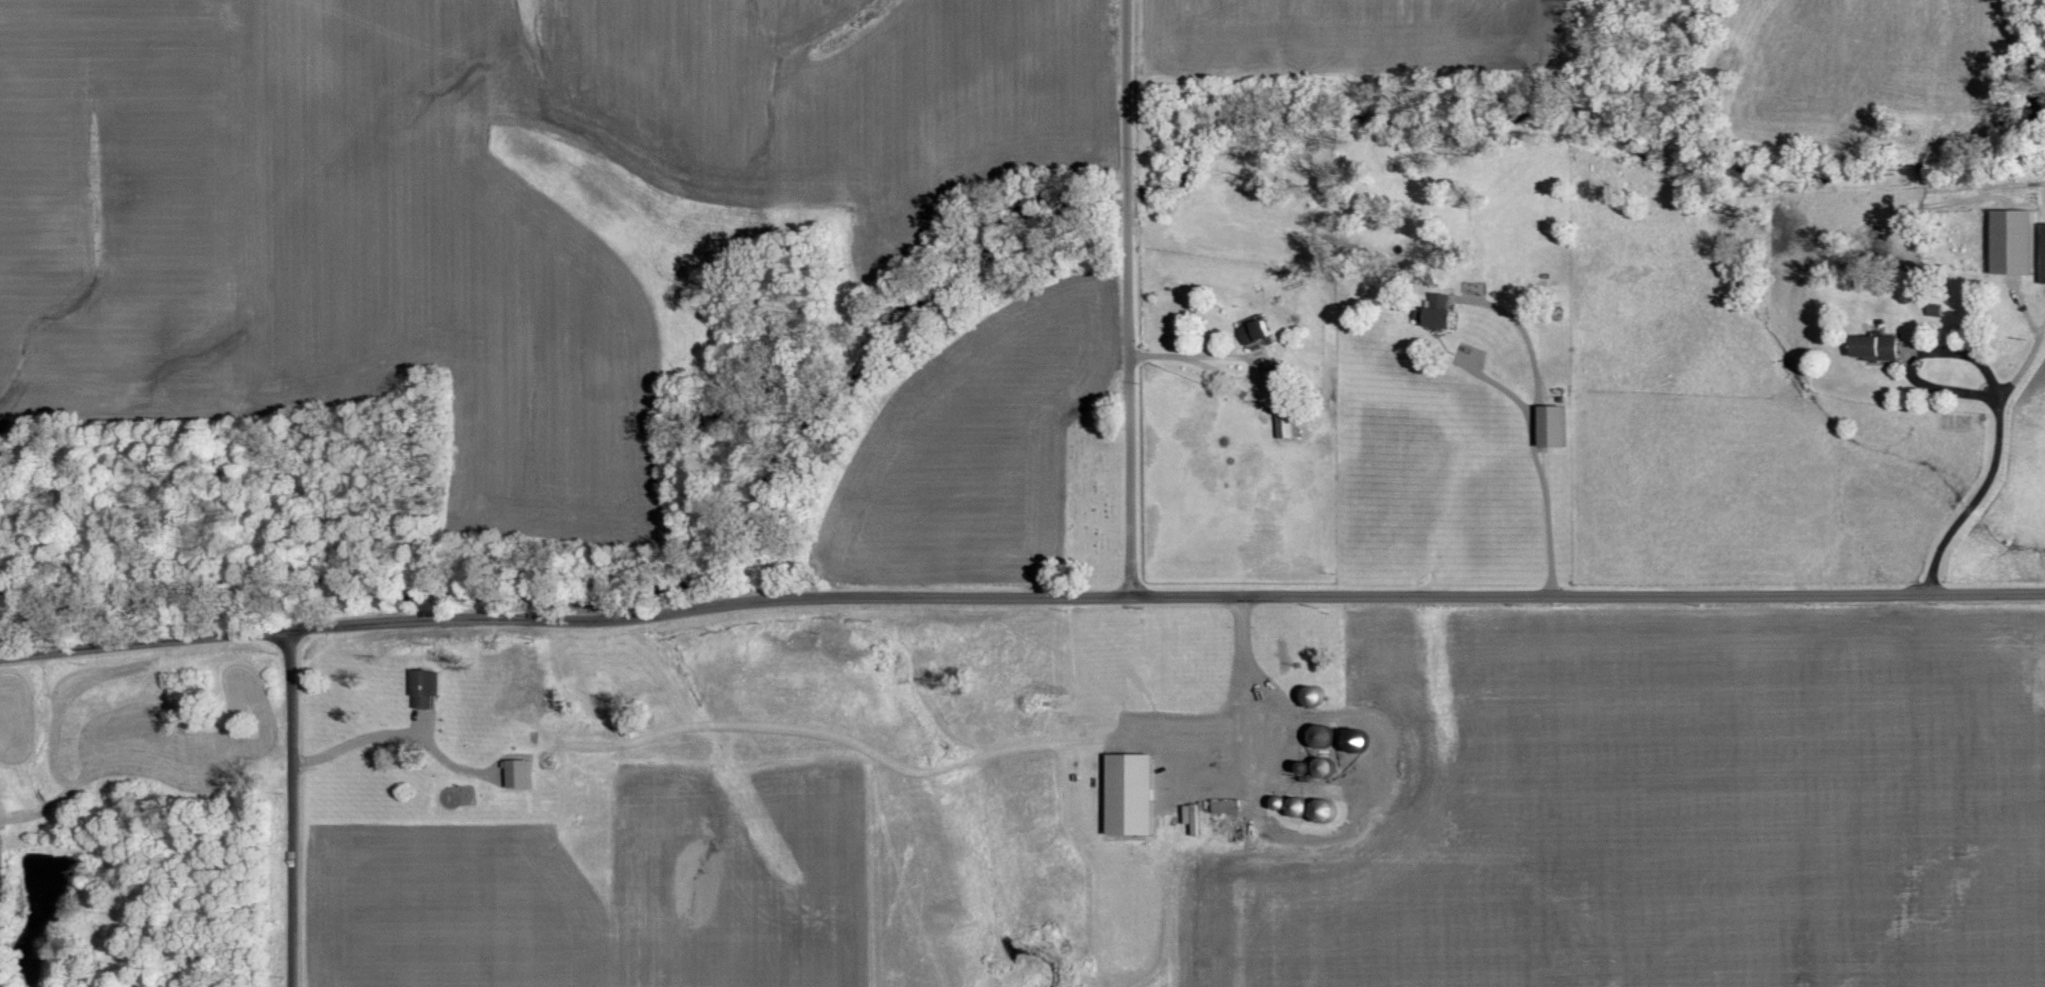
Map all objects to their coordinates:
building: (2009, 241)
building: (2041, 253)
road: (1134, 299)
building: (1435, 308)
building: (1251, 332)
building: (1871, 347)
road: (1238, 357)
road: (1499, 387)
building: (1287, 424)
building: (1548, 426)
road: (1531, 430)
park: (1094, 497)
road: (1021, 599)
building: (432, 688)
building: (526, 775)
building: (1127, 795)
building: (1224, 806)
road: (294, 808)
building: (1190, 818)

